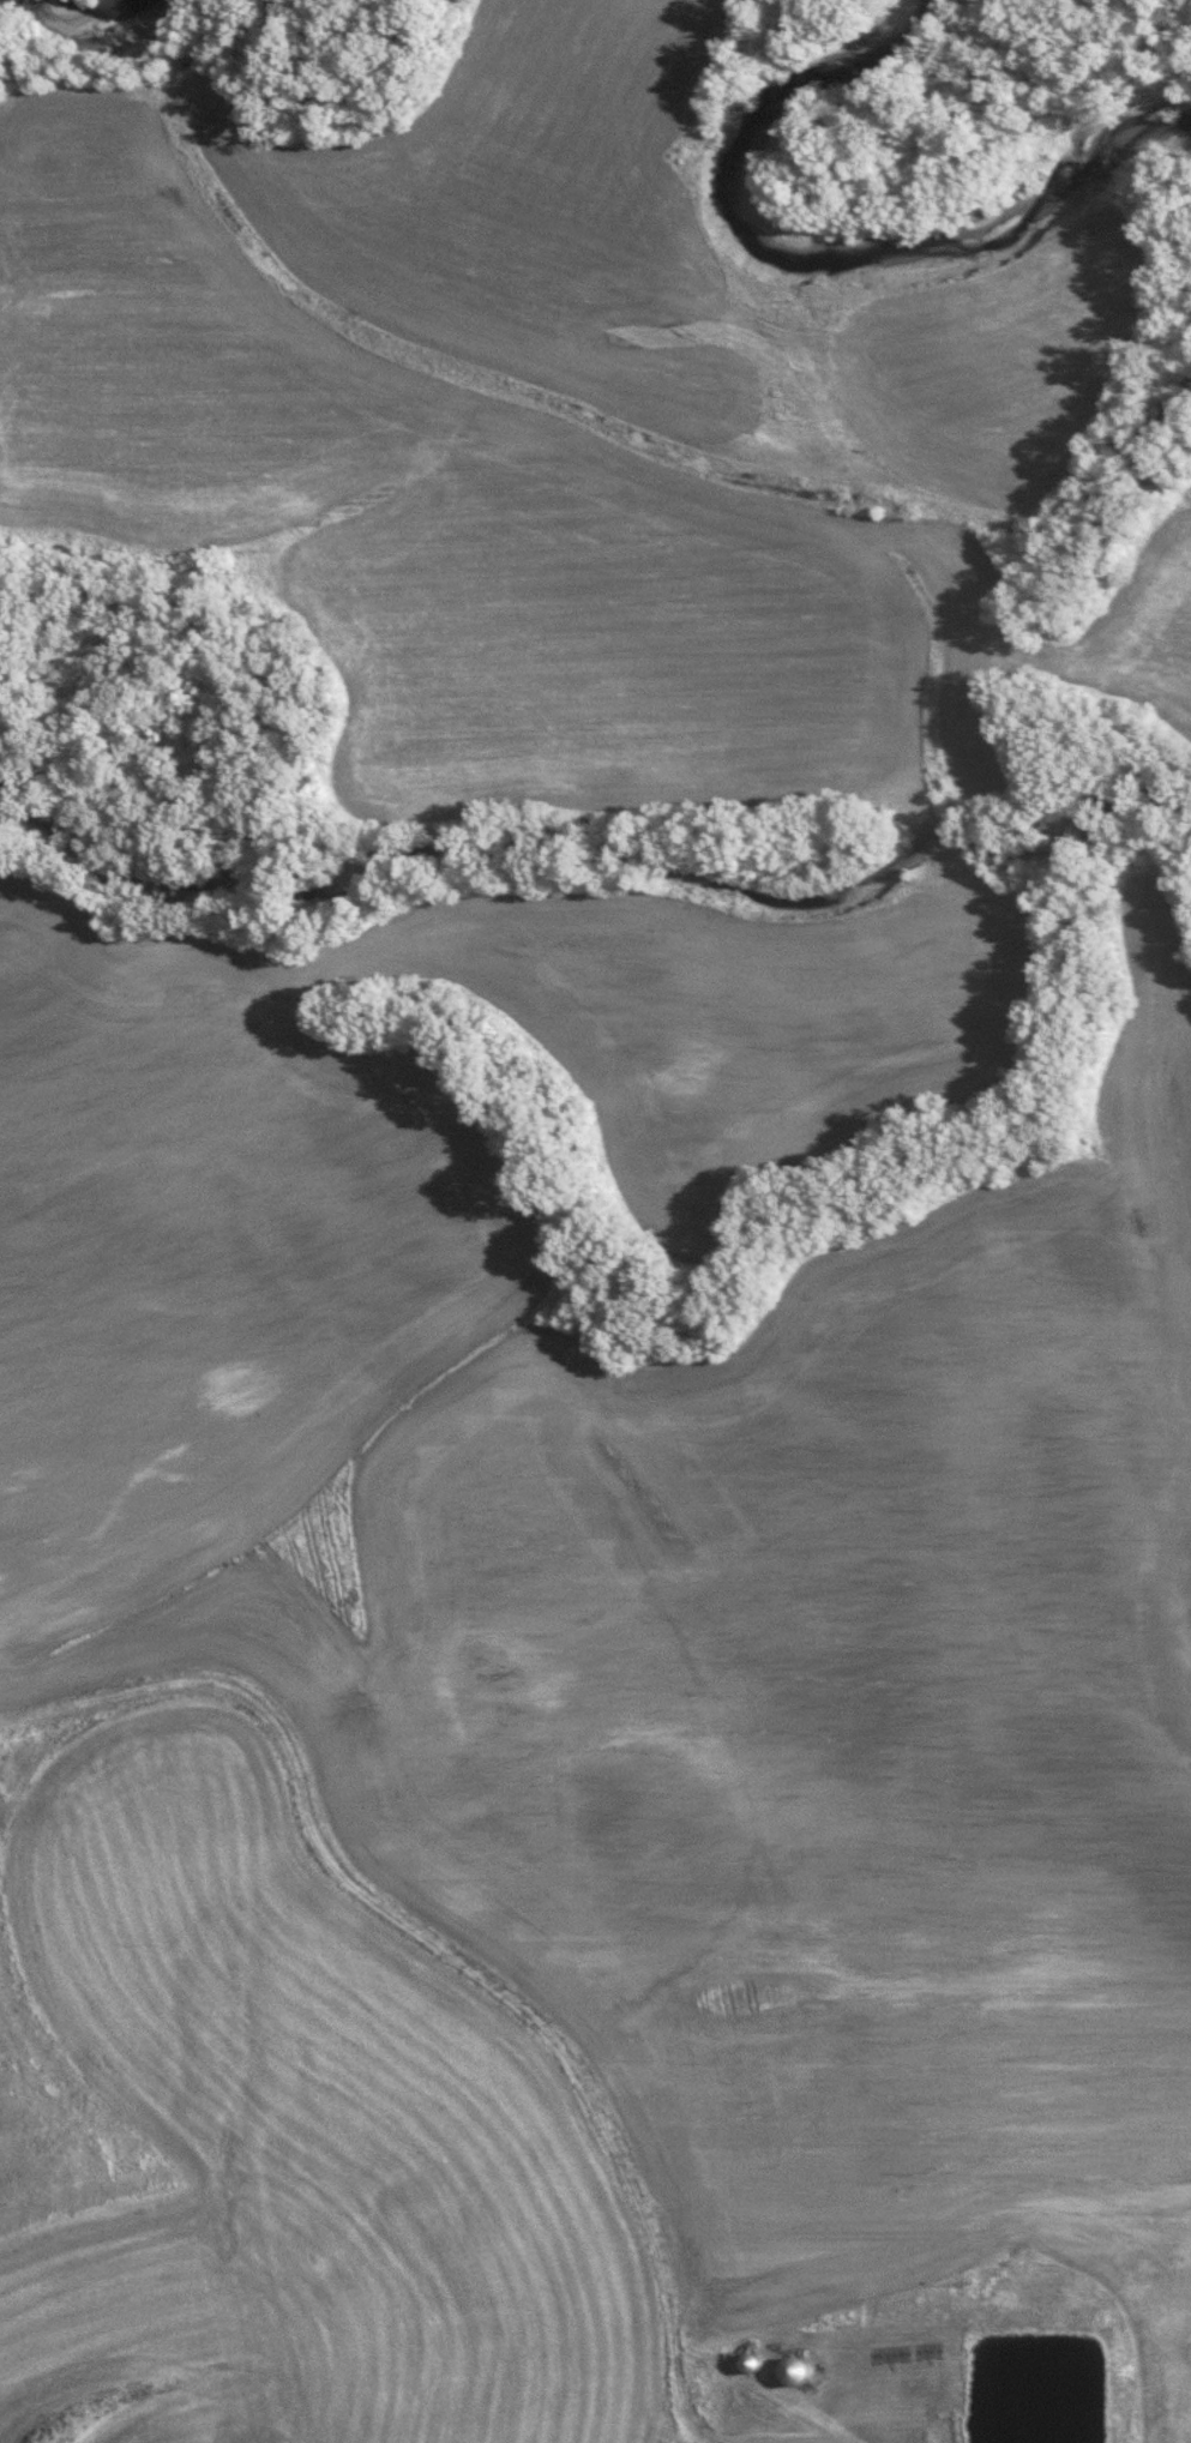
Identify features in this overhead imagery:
building: (754, 2364)
building: (799, 2371)

